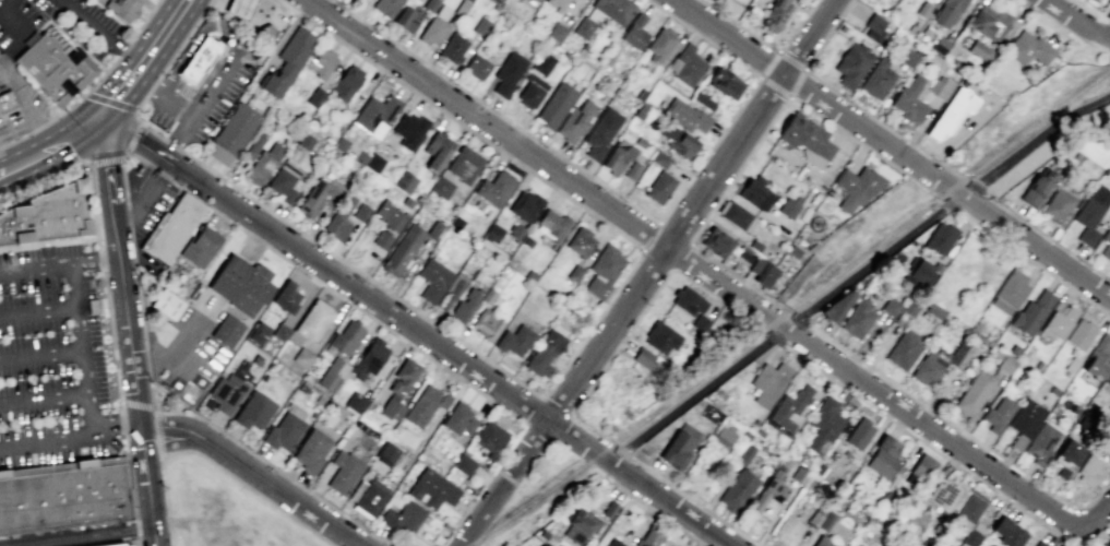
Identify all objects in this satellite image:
building: (1091, 0)
building: (1094, 0)
building: (536, 1)
road: (208, 2)
building: (430, 4)
building: (557, 4)
building: (385, 7)
building: (239, 8)
gas station: (239, 8)
building: (461, 8)
building: (122, 9)
building: (923, 9)
road: (1083, 9)
building: (613, 10)
road: (211, 11)
building: (947, 12)
road: (9, 14)
building: (775, 14)
building: (408, 16)
road: (246, 17)
road: (144, 20)
road: (1075, 22)
road: (1045, 23)
road: (215, 24)
building: (992, 24)
parking lot: (58, 25)
building: (434, 26)
building: (480, 26)
building: (874, 26)
building: (583, 27)
road: (1102, 27)
building: (557, 32)
building: (635, 32)
road: (97, 34)
building: (263, 34)
road: (158, 36)
road: (195, 38)
road: (1108, 38)
road: (183, 39)
building: (659, 44)
road: (766, 44)
building: (940, 45)
road: (1095, 47)
road: (124, 48)
building: (453, 48)
building: (1027, 48)
building: (951, 49)
building: (980, 50)
building: (906, 56)
building: (199, 59)
building: (287, 62)
building: (320, 62)
building: (851, 62)
building: (544, 63)
road: (767, 63)
road: (208, 64)
building: (688, 64)
building: (476, 67)
building: (53, 69)
building: (508, 73)
road: (102, 75)
building: (876, 79)
road: (208, 80)
building: (346, 81)
road: (146, 82)
building: (726, 83)
road: (796, 84)
road: (152, 86)
building: (940, 87)
building: (530, 91)
road: (116, 93)
building: (640, 94)
building: (314, 96)
road: (793, 98)
building: (910, 98)
parking lot: (196, 99)
building: (5, 100)
building: (703, 100)
road: (110, 102)
parking lot: (19, 103)
road: (854, 104)
building: (554, 105)
road: (26, 108)
road: (201, 112)
traffic signals: (99, 114)
building: (684, 114)
building: (951, 114)
building: (374, 115)
road: (92, 119)
building: (575, 121)
road: (140, 122)
road: (45, 123)
traffic signals: (84, 124)
building: (408, 130)
building: (600, 132)
road: (127, 133)
building: (232, 133)
road: (67, 135)
road: (178, 135)
building: (805, 138)
road: (1039, 138)
building: (679, 141)
building: (640, 142)
road: (171, 144)
building: (254, 145)
road: (45, 150)
building: (437, 150)
road: (893, 150)
building: (349, 151)
road: (123, 156)
building: (618, 156)
building: (659, 158)
road: (22, 162)
building: (373, 162)
road: (169, 163)
building: (262, 164)
building: (464, 164)
road: (1, 166)
building: (138, 168)
road: (1, 170)
building: (288, 170)
building: (632, 170)
road: (122, 171)
road: (160, 173)
road: (535, 175)
road: (107, 180)
road: (135, 180)
building: (403, 181)
building: (857, 186)
building: (441, 187)
building: (659, 187)
building: (494, 188)
building: (1036, 188)
building: (753, 192)
road: (959, 194)
building: (318, 197)
road: (147, 200)
road: (622, 200)
building: (525, 205)
parking lot: (145, 206)
building: (1058, 206)
building: (788, 207)
road: (690, 211)
building: (359, 212)
building: (1090, 213)
building: (48, 214)
building: (391, 215)
building: (736, 216)
building: (338, 218)
road: (129, 219)
building: (455, 223)
road: (658, 223)
building: (553, 224)
building: (174, 228)
building: (493, 230)
building: (515, 230)
road: (1041, 234)
building: (941, 237)
road: (99, 239)
building: (382, 239)
building: (526, 241)
building: (580, 241)
building: (717, 241)
road: (49, 242)
building: (1106, 242)
building: (754, 245)
building: (199, 246)
building: (406, 247)
building: (793, 251)
building: (743, 253)
road: (682, 259)
road: (872, 259)
road: (1029, 259)
road: (94, 261)
building: (602, 271)
building: (920, 271)
building: (762, 272)
road: (361, 273)
building: (574, 273)
building: (530, 275)
building: (432, 280)
building: (96, 282)
building: (242, 285)
road: (74, 286)
building: (452, 290)
building: (1010, 292)
building: (286, 296)
building: (487, 296)
road: (366, 297)
road: (649, 298)
building: (688, 300)
building: (167, 304)
road: (350, 304)
building: (92, 305)
building: (465, 305)
building: (890, 306)
building: (836, 307)
building: (909, 307)
railway: (789, 310)
building: (934, 310)
building: (1031, 312)
building: (857, 318)
road: (141, 320)
building: (314, 320)
building: (1058, 320)
building: (700, 323)
building: (487, 324)
building: (976, 325)
road: (784, 327)
road: (79, 329)
building: (227, 330)
building: (258, 332)
building: (279, 332)
building: (1081, 333)
building: (346, 336)
building: (660, 337)
building: (515, 340)
building: (902, 348)
building: (1014, 349)
building: (546, 351)
building: (996, 353)
building: (958, 355)
building: (302, 357)
parking lot: (50, 358)
building: (369, 358)
building: (1098, 358)
building: (645, 359)
building: (1006, 363)
building: (926, 368)
road: (84, 373)
building: (332, 375)
building: (1107, 379)
building: (768, 382)
building: (187, 385)
building: (399, 387)
building: (974, 391)
building: (226, 393)
road: (694, 393)
road: (134, 394)
road: (542, 397)
building: (319, 399)
building: (355, 402)
road: (136, 403)
building: (425, 404)
building: (712, 405)
building: (1090, 406)
building: (787, 410)
building: (254, 411)
building: (337, 411)
road: (88, 414)
building: (998, 414)
building: (458, 418)
road: (114, 420)
building: (1024, 422)
road: (122, 423)
building: (823, 423)
road: (953, 424)
road: (176, 427)
building: (284, 431)
building: (858, 434)
building: (724, 435)
road: (157, 436)
road: (600, 437)
road: (916, 437)
building: (489, 438)
building: (1043, 440)
road: (45, 441)
road: (175, 443)
building: (679, 446)
road: (121, 450)
building: (311, 450)
building: (387, 452)
road: (621, 452)
building: (745, 454)
building: (883, 456)
building: (1066, 456)
road: (606, 461)
road: (268, 464)
building: (464, 464)
road: (63, 466)
building: (921, 466)
building: (1089, 470)
building: (344, 472)
building: (798, 474)
road: (505, 484)
road: (638, 484)
road: (244, 486)
building: (769, 486)
road: (131, 489)
building: (432, 489)
building: (737, 490)
building: (63, 495)
road: (284, 495)
building: (945, 495)
building: (370, 498)
road: (691, 499)
road: (540, 508)
building: (608, 509)
building: (968, 510)
building: (403, 517)
building: (914, 522)
road: (1090, 522)
building: (827, 523)
building: (580, 525)
building: (786, 531)
building: (1006, 532)
road: (75, 533)
building: (544, 533)
building: (972, 535)
building: (649, 537)
building: (1106, 539)
building: (822, 542)
building: (613, 543)
building: (110, 544)
building: (1039, 544)

